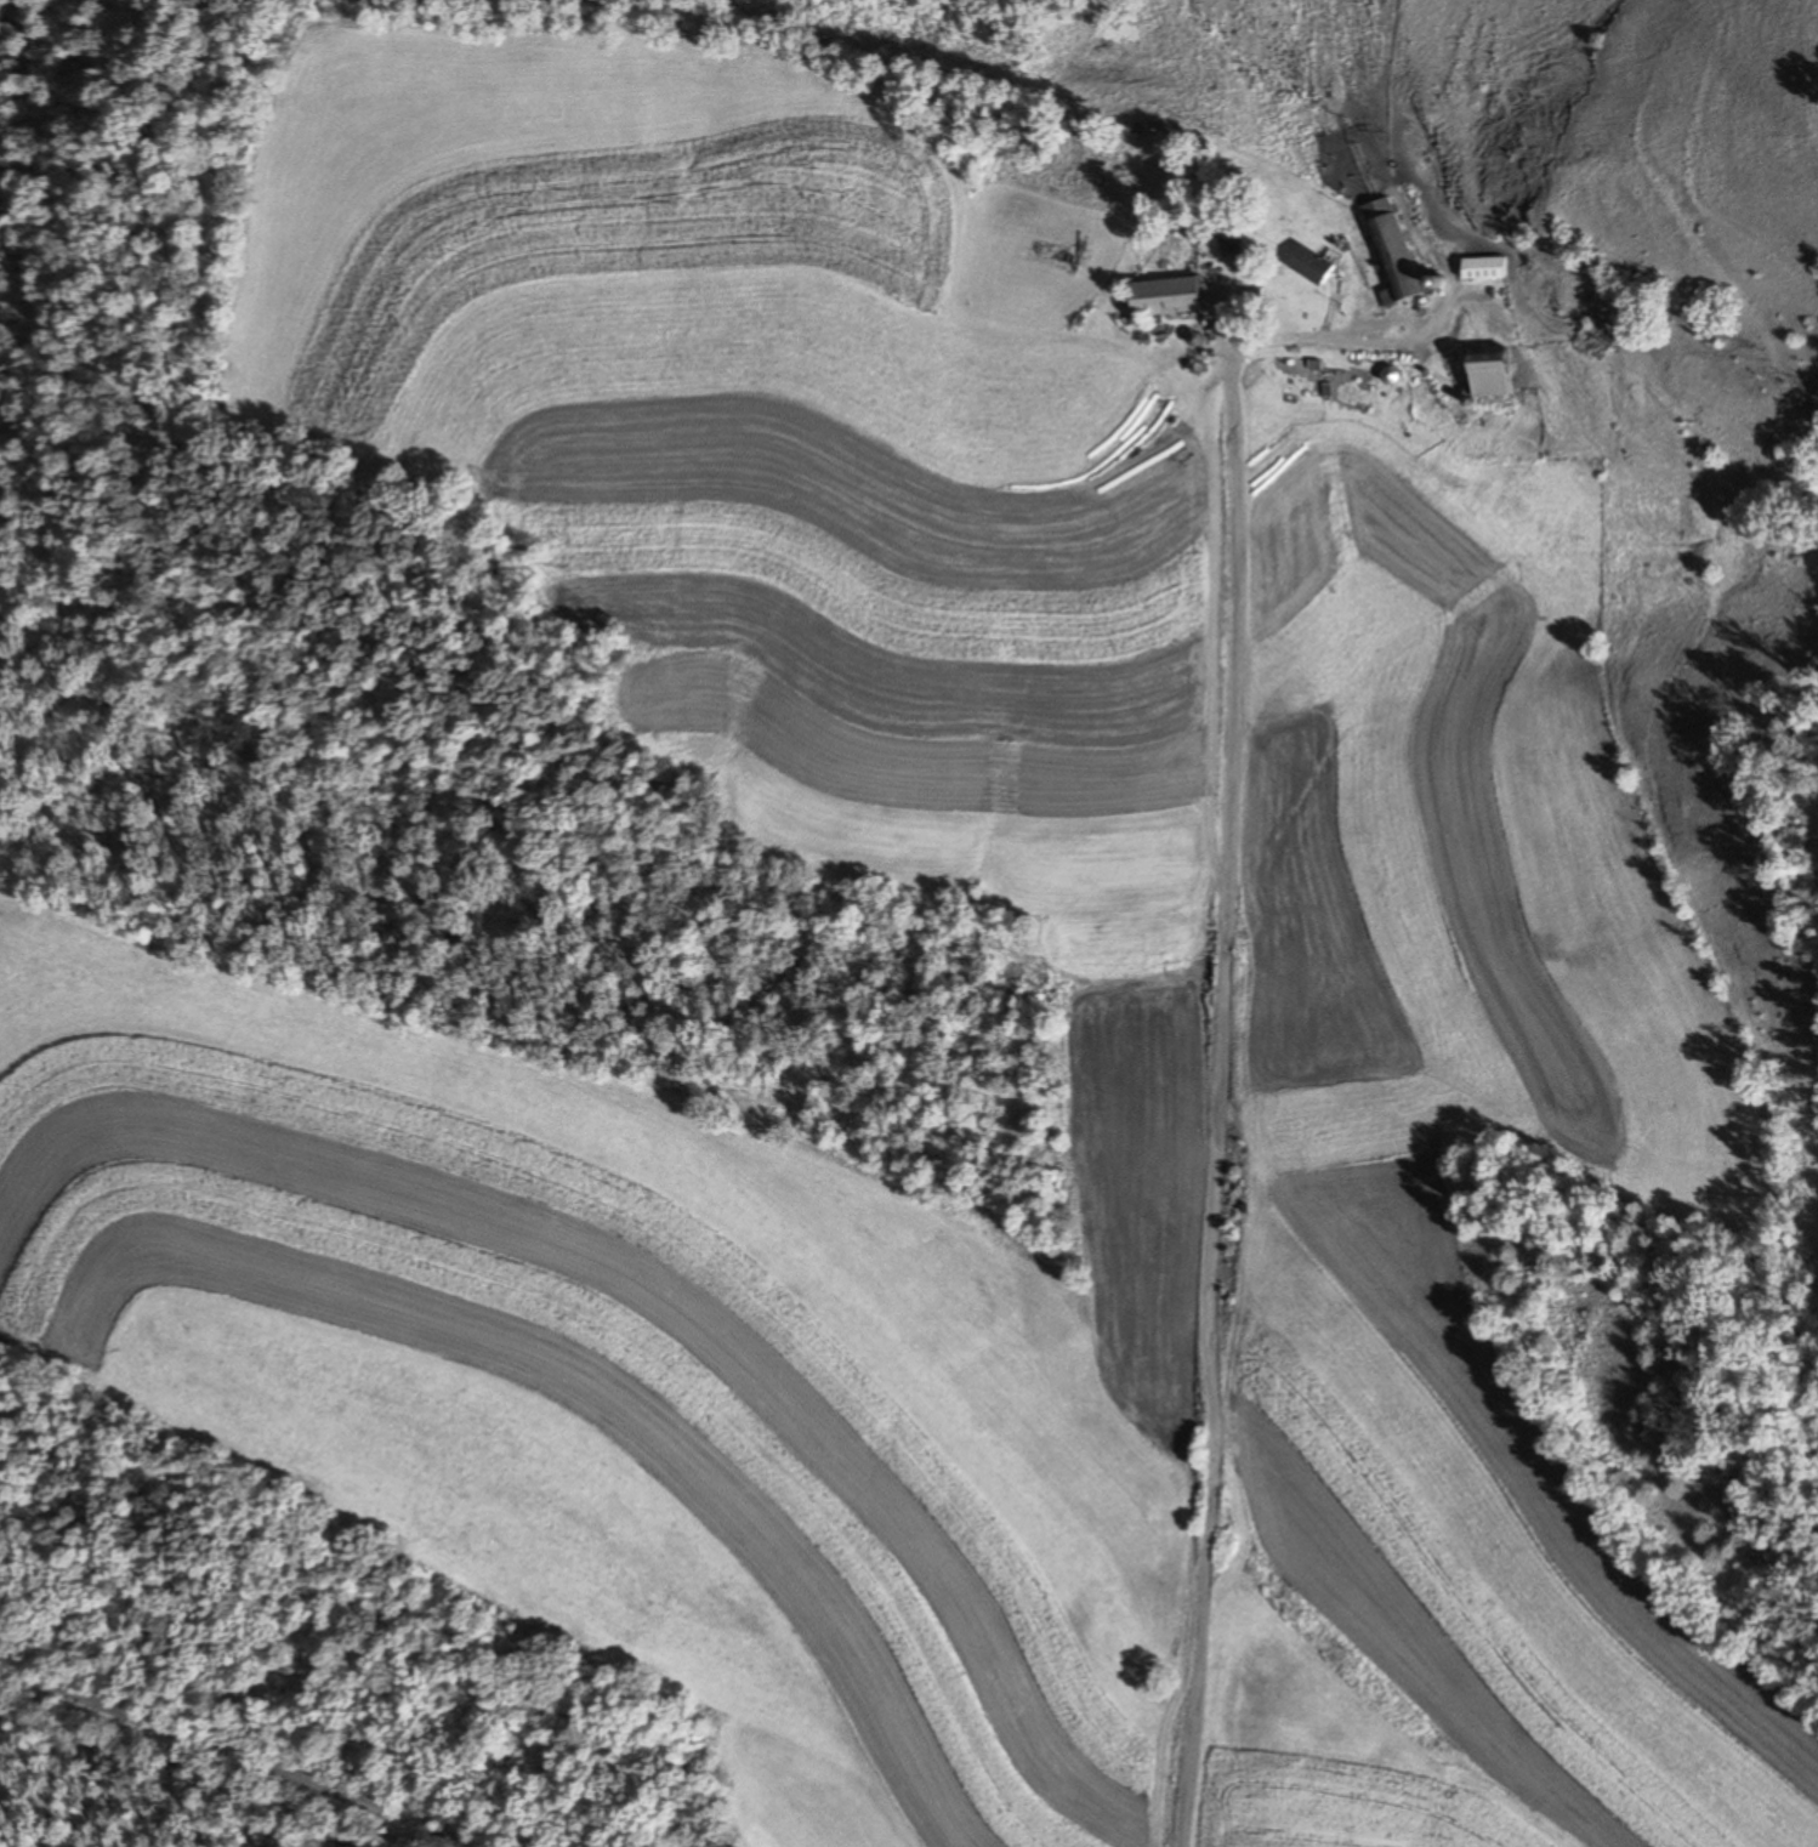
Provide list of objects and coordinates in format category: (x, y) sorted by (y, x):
building: (1227, 232)
building: (1392, 255)
building: (1306, 266)
building: (1477, 268)
building: (1160, 297)
building: (1482, 373)
road: (1211, 871)
road: (1195, 1642)
road: (218, 1757)

